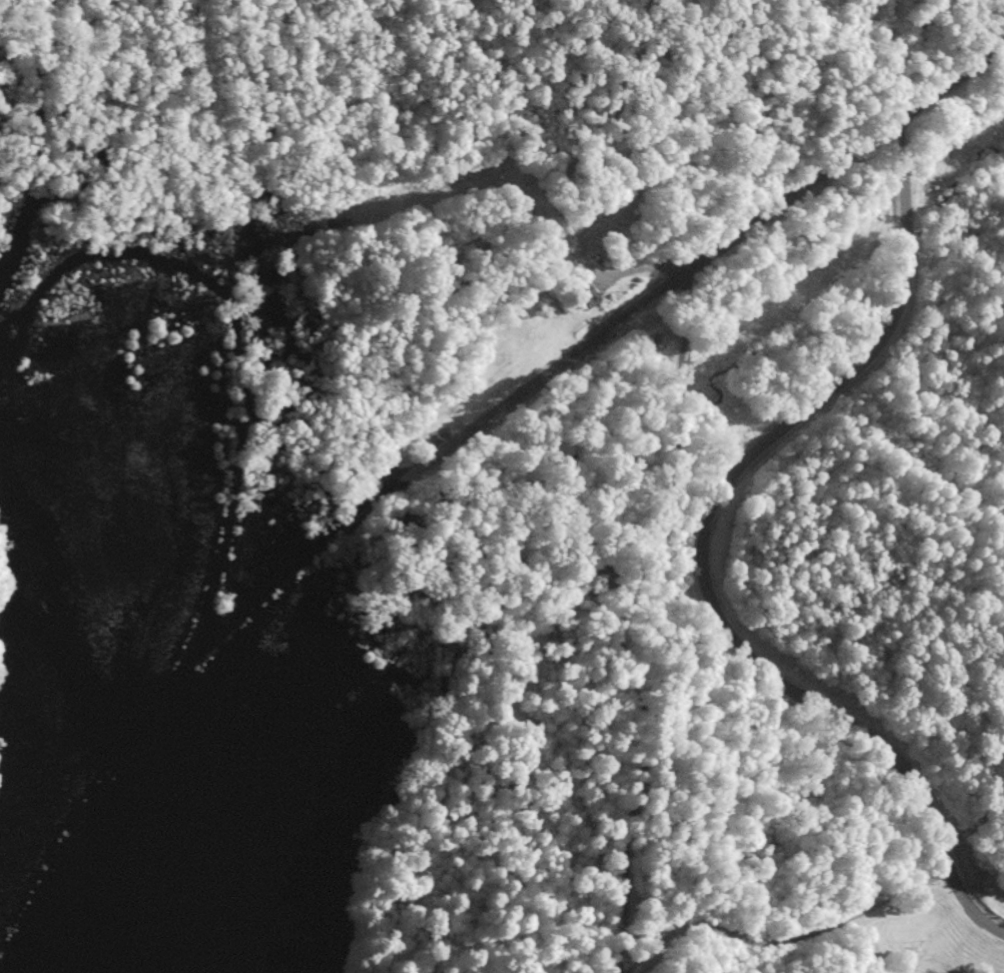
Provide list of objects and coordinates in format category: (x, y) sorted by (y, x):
road: (195, 42)
road: (216, 189)
road: (751, 227)
road: (954, 243)
building: (576, 302)
road: (315, 472)
road: (711, 550)
road: (274, 580)

